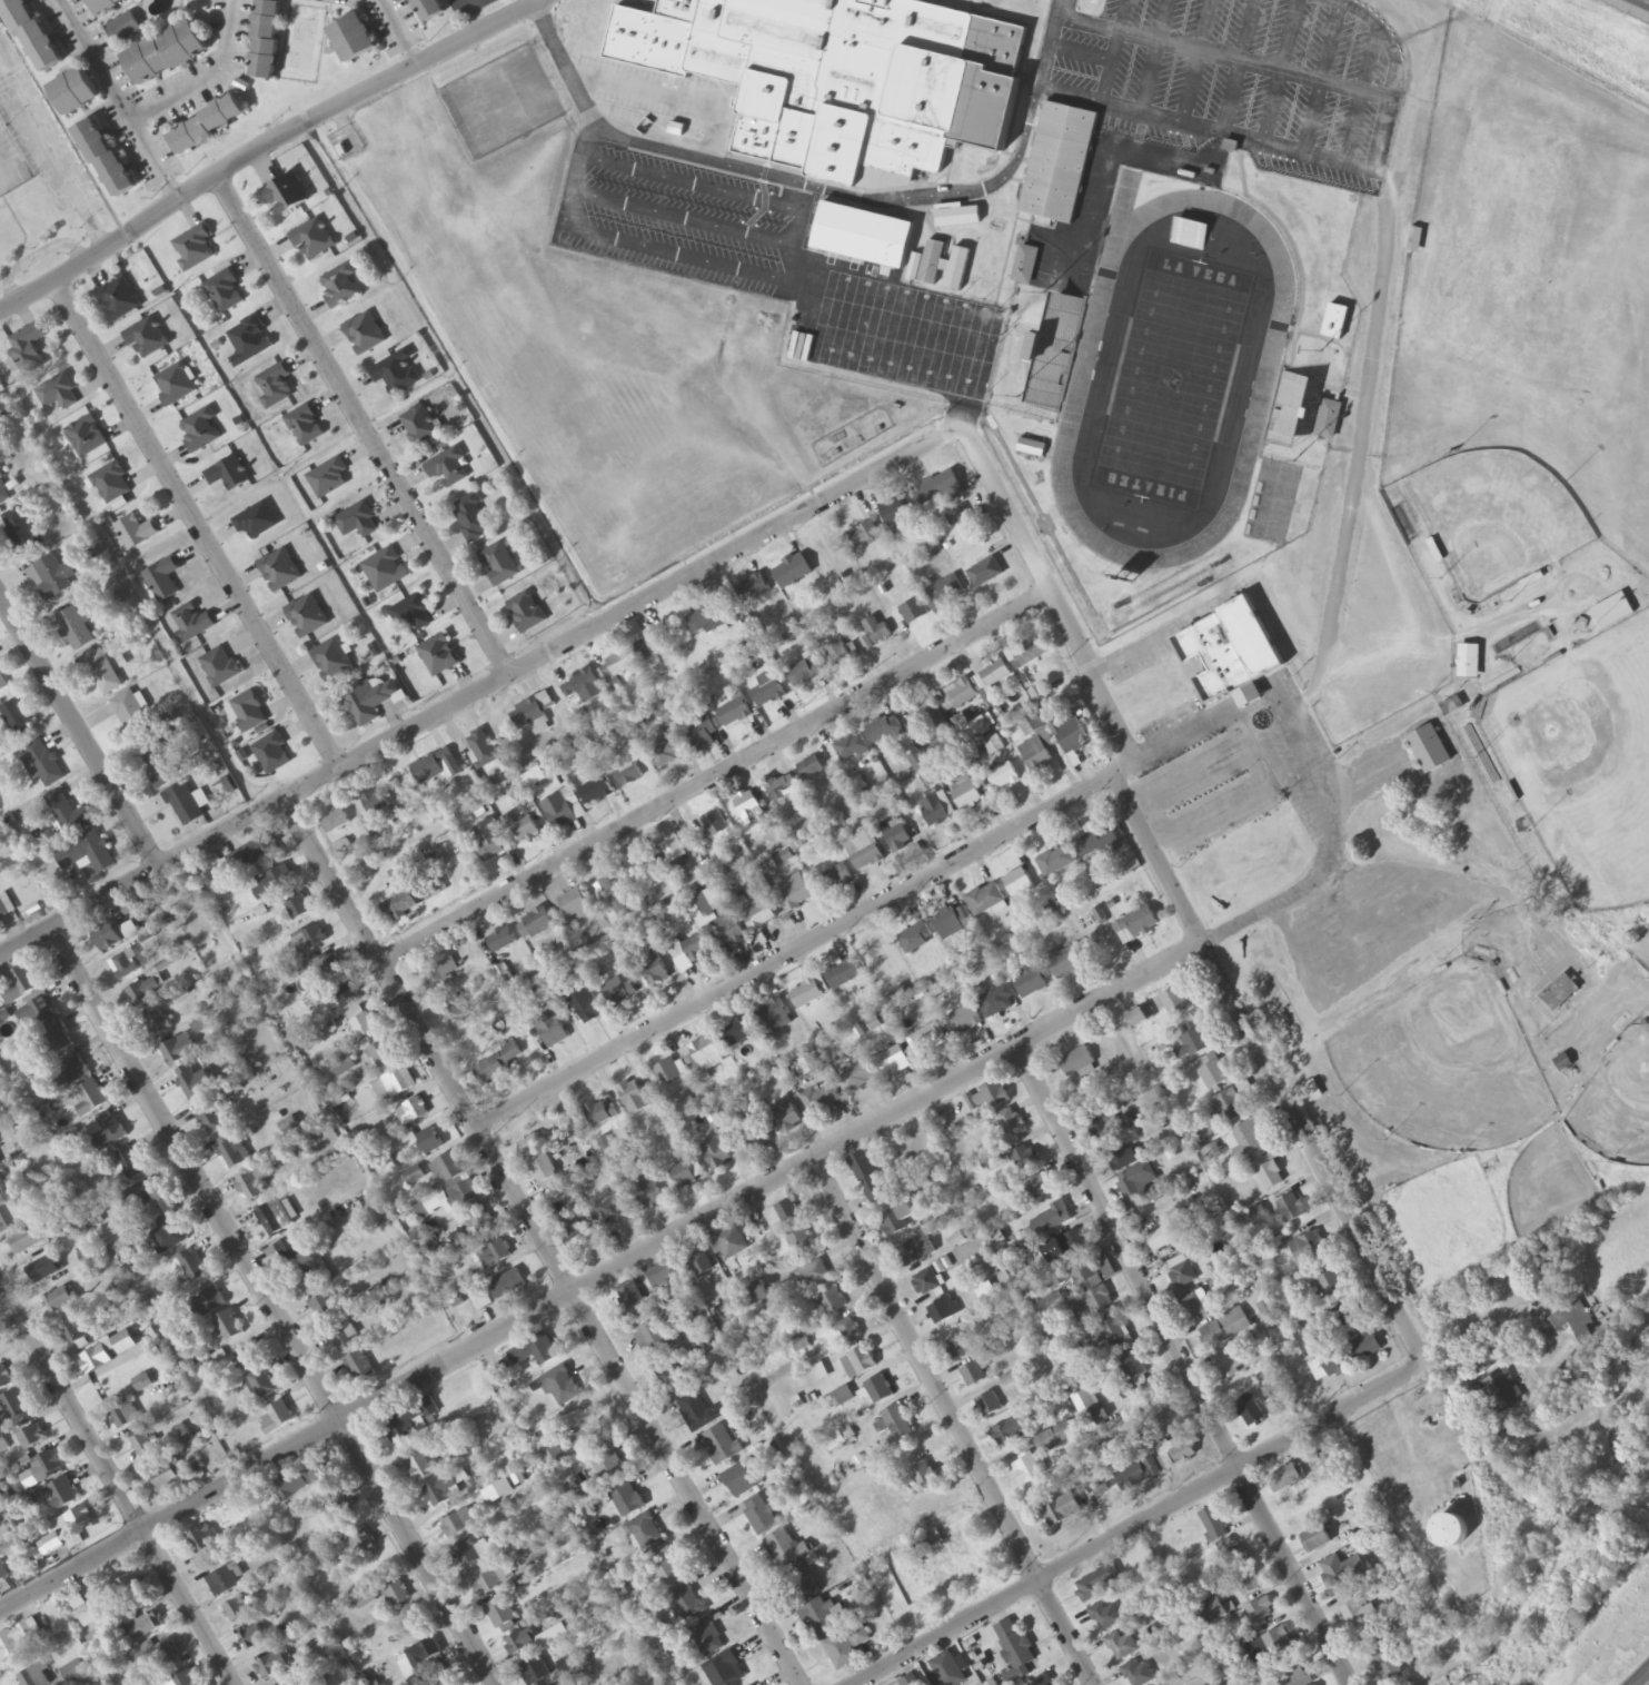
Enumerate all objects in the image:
building: (105, 4)
building: (428, 9)
building: (123, 28)
building: (31, 34)
building: (352, 38)
building: (266, 39)
building: (165, 52)
building: (844, 78)
building: (73, 91)
building: (207, 125)
road: (261, 140)
building: (105, 158)
building: (1059, 163)
road: (1, 168)
building: (288, 195)
building: (958, 216)
building: (863, 236)
building: (312, 240)
building: (1415, 240)
building: (195, 248)
building: (932, 264)
building: (1025, 265)
building: (957, 270)
building: (340, 287)
building: (225, 293)
building: (120, 299)
building: (365, 334)
building: (146, 339)
building: (249, 341)
building: (27, 348)
building: (1055, 351)
building: (396, 375)
park: (1172, 376)
building: (175, 385)
building: (275, 387)
building: (58, 393)
building: (1291, 397)
building: (2, 409)
building: (1329, 419)
building: (305, 426)
building: (419, 426)
road: (361, 427)
building: (199, 432)
building: (87, 437)
building: (1032, 448)
building: (448, 468)
building: (228, 475)
building: (329, 479)
building: (111, 484)
building: (938, 489)
building: (3, 490)
building: (900, 514)
building: (957, 517)
building: (471, 518)
building: (358, 522)
building: (256, 523)
road: (196, 525)
building: (21, 532)
building: (136, 533)
building: (864, 535)
building: (498, 565)
building: (279, 571)
building: (385, 571)
building: (792, 572)
building: (985, 573)
building: (51, 577)
building: (162, 579)
building: (754, 589)
building: (946, 594)
building: (914, 612)
building: (1612, 612)
building: (527, 613)
building: (411, 614)
building: (307, 616)
building: (704, 620)
building: (191, 623)
building: (744, 624)
building: (74, 630)
building: (876, 631)
building: (650, 646)
building: (1226, 650)
building: (837, 654)
building: (1030, 654)
building: (439, 656)
building: (331, 661)
building: (1469, 662)
building: (618, 665)
building: (220, 667)
building: (101, 672)
building: (805, 672)
building: (996, 674)
building: (2, 684)
building: (583, 687)
building: (768, 690)
building: (961, 694)
road: (471, 695)
park: (1447, 700)
building: (368, 702)
building: (249, 712)
building: (734, 713)
building: (131, 714)
building: (530, 717)
building: (930, 718)
building: (18, 721)
building: (1031, 725)
building: (968, 727)
building: (884, 730)
road: (79, 734)
building: (702, 734)
building: (1072, 735)
road: (1198, 735)
building: (994, 745)
building: (480, 749)
building: (852, 749)
building: (1429, 750)
building: (666, 751)
building: (272, 754)
building: (1035, 754)
building: (41, 764)
building: (436, 769)
building: (811, 769)
building: (159, 770)
building: (628, 772)
road: (699, 777)
building: (1003, 777)
building: (596, 789)
building: (783, 790)
building: (966, 795)
building: (183, 805)
building: (376, 805)
building: (749, 809)
building: (933, 810)
building: (557, 811)
building: (68, 815)
building: (335, 822)
building: (714, 826)
building: (525, 831)
building: (898, 839)
building: (489, 841)
building: (1097, 844)
building: (863, 850)
building: (674, 852)
building: (86, 854)
building: (250, 856)
building: (1056, 862)
building: (646, 864)
building: (837, 878)
building: (272, 883)
building: (1017, 884)
building: (794, 894)
building: (613, 898)
road: (1174, 898)
building: (985, 900)
building: (574, 904)
building: (299, 908)
building: (400, 908)
building: (3, 912)
building: (759, 916)
building: (538, 922)
building: (953, 923)
building: (1135, 925)
building: (733, 933)
building: (107, 938)
building: (916, 940)
building: (309, 941)
building: (501, 941)
building: (693, 952)
road: (793, 952)
building: (123, 967)
building: (329, 968)
building: (653, 969)
building: (1049, 972)
building: (440, 975)
building: (842, 975)
building: (20, 985)
building: (143, 993)
building: (1559, 993)
building: (806, 994)
building: (620, 995)
building: (347, 997)
building: (997, 1002)
building: (1172, 1004)
building: (583, 1008)
building: (42, 1011)
building: (772, 1014)
building: (457, 1015)
building: (1138, 1019)
building: (963, 1021)
building: (158, 1024)
building: (364, 1027)
building: (550, 1030)
building: (736, 1033)
building: (58, 1038)
building: (927, 1041)
building: (1192, 1044)
building: (178, 1051)
building: (380, 1054)
building: (701, 1060)
building: (893, 1062)
building: (1077, 1063)
building: (1564, 1065)
building: (495, 1067)
building: (70, 1072)
building: (668, 1072)
building: (1212, 1072)
building: (858, 1078)
building: (391, 1082)
building: (195, 1083)
building: (992, 1097)
building: (633, 1098)
building: (90, 1100)
building: (822, 1101)
building: (749, 1108)
building: (1229, 1108)
building: (411, 1112)
building: (597, 1113)
building: (211, 1118)
building: (786, 1120)
building: (1011, 1124)
building: (106, 1131)
building: (1102, 1131)
building: (754, 1137)
building: (429, 1141)
building: (235, 1151)
building: (716, 1154)
building: (1125, 1157)
building: (1025, 1159)
building: (539, 1163)
building: (129, 1164)
building: (446, 1168)
building: (864, 1171)
building: (1270, 1173)
building: (414, 1176)
building: (684, 1177)
building: (255, 1182)
building: (1134, 1182)
building: (1040, 1187)
building: (647, 1195)
building: (454, 1198)
building: (1291, 1210)
building: (4, 1211)
building: (613, 1213)
building: (782, 1216)
building: (276, 1219)
building: (898, 1221)
building: (483, 1226)
building: (573, 1233)
building: (168, 1237)
building: (1168, 1237)
building: (29, 1241)
road: (543, 1242)
building: (801, 1243)
building: (1070, 1243)
building: (731, 1245)
building: (1310, 1249)
building: (916, 1252)
building: (291, 1253)
building: (495, 1255)
building: (701, 1263)
building: (190, 1270)
building: (43, 1271)
building: (1077, 1273)
building: (664, 1275)
road: (599, 1276)
building: (813, 1276)
building: (1183, 1277)
building: (926, 1283)
building: (506, 1287)
building: (1329, 1287)
building: (757, 1296)
building: (60, 1300)
building: (632, 1302)
building: (208, 1304)
building: (832, 1304)
building: (1196, 1306)
road: (275, 1307)
building: (327, 1311)
building: (944, 1311)
building: (735, 1317)
building: (1347, 1317)
building: (1575, 1322)
building: (227, 1328)
building: (1225, 1329)
building: (848, 1331)
building: (657, 1332)
building: (77, 1334)
building: (1109, 1334)
building: (344, 1339)
building: (1319, 1339)
building: (958, 1348)
building: (535, 1352)
building: (247, 1358)
building: (1347, 1358)
building: (96, 1360)
building: (860, 1364)
road: (1182, 1364)
building: (1229, 1366)
building: (360, 1370)
building: (1134, 1372)
building: (973, 1376)
building: (674, 1378)
building: (4, 1380)
building: (262, 1385)
building: (1104, 1387)
building: (109, 1388)
building: (562, 1388)
building: (880, 1390)
building: (1504, 1391)
building: (843, 1398)
building: (1085, 1401)
building: (989, 1406)
building: (14, 1407)
building: (1255, 1408)
building: (697, 1413)
building: (125, 1417)
building: (277, 1418)
road: (956, 1421)
building: (895, 1425)
building: (406, 1426)
building: (1013, 1430)
building: (582, 1437)
building: (1056, 1437)
building: (31, 1438)
building: (840, 1439)
building: (723, 1445)
building: (143, 1446)
building: (1176, 1453)
building: (552, 1456)
building: (1331, 1457)
building: (47, 1466)
building: (607, 1466)
building: (420, 1467)
building: (1027, 1470)
building: (1139, 1475)
building: (924, 1476)
building: (163, 1478)
building: (1287, 1478)
building: (742, 1480)
road: (118, 1483)
building: (305, 1483)
building: (440, 1491)
building: (62, 1494)
building: (627, 1500)
building: (1063, 1510)
building: (338, 1514)
building: (763, 1514)
road: (1126, 1519)
building: (1215, 1523)
building: (457, 1525)
building: (66, 1530)
building: (646, 1534)
building: (1450, 1534)
building: (1317, 1540)
building: (202, 1542)
building: (362, 1544)
building: (785, 1550)
building: (469, 1553)
building: (1235, 1560)
building: (957, 1567)
building: (667, 1568)
building: (2, 1572)
building: (1337, 1582)
building: (222, 1584)
building: (490, 1584)
building: (1096, 1584)
building: (1246, 1584)
building: (801, 1585)
building: (125, 1589)
building: (687, 1604)
building: (1213, 1610)
building: (237, 1612)
building: (1261, 1613)
building: (501, 1616)
building: (1359, 1616)
building: (1105, 1617)
building: (826, 1618)
building: (146, 1627)
building: (707, 1638)
building: (252, 1639)
building: (16, 1642)
building: (520, 1644)
building: (1122, 1647)
building: (1270, 1647)
building: (846, 1648)
building: (1014, 1651)
building: (167, 1653)
building: (424, 1654)
building: (1385, 1665)
building: (271, 1668)
building: (725, 1671)
building: (948, 1671)
building: (535, 1672)
building: (73, 1673)
building: (1138, 1675)
building: (1292, 1675)
building: (36, 1677)
building: (182, 1679)
building: (911, 1682)
building: (1043, 1682)
building: (296, 1683)
road: (1648, 1684)

